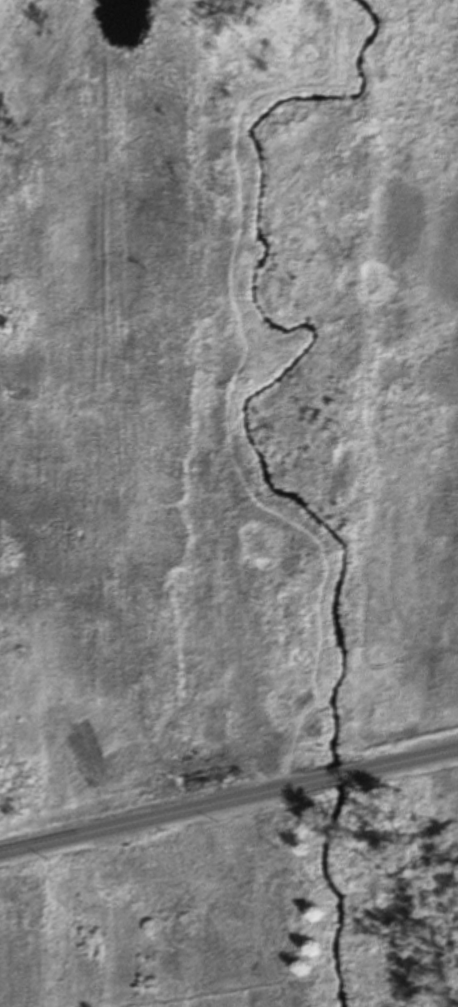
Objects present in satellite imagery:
road: (228, 802)

